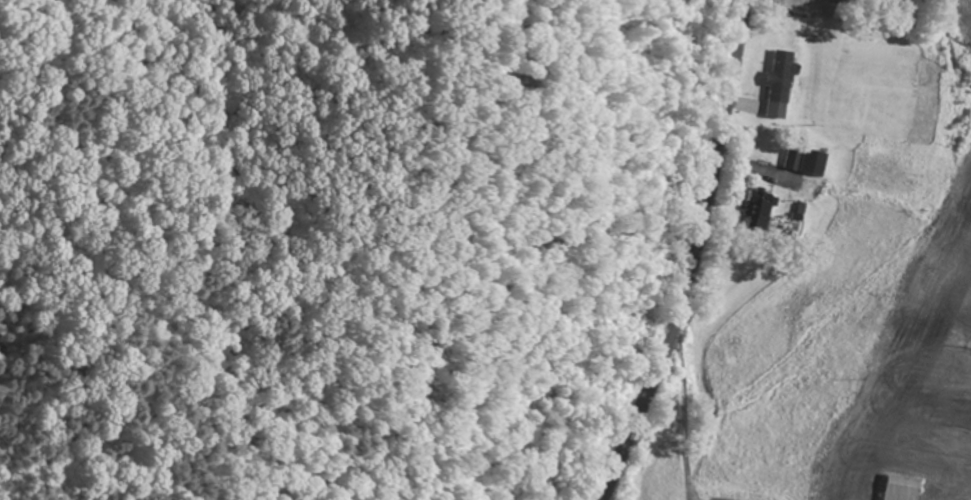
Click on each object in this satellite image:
building: (838, 3)
building: (781, 79)
building: (811, 162)
building: (756, 214)
road: (696, 255)
building: (901, 489)

